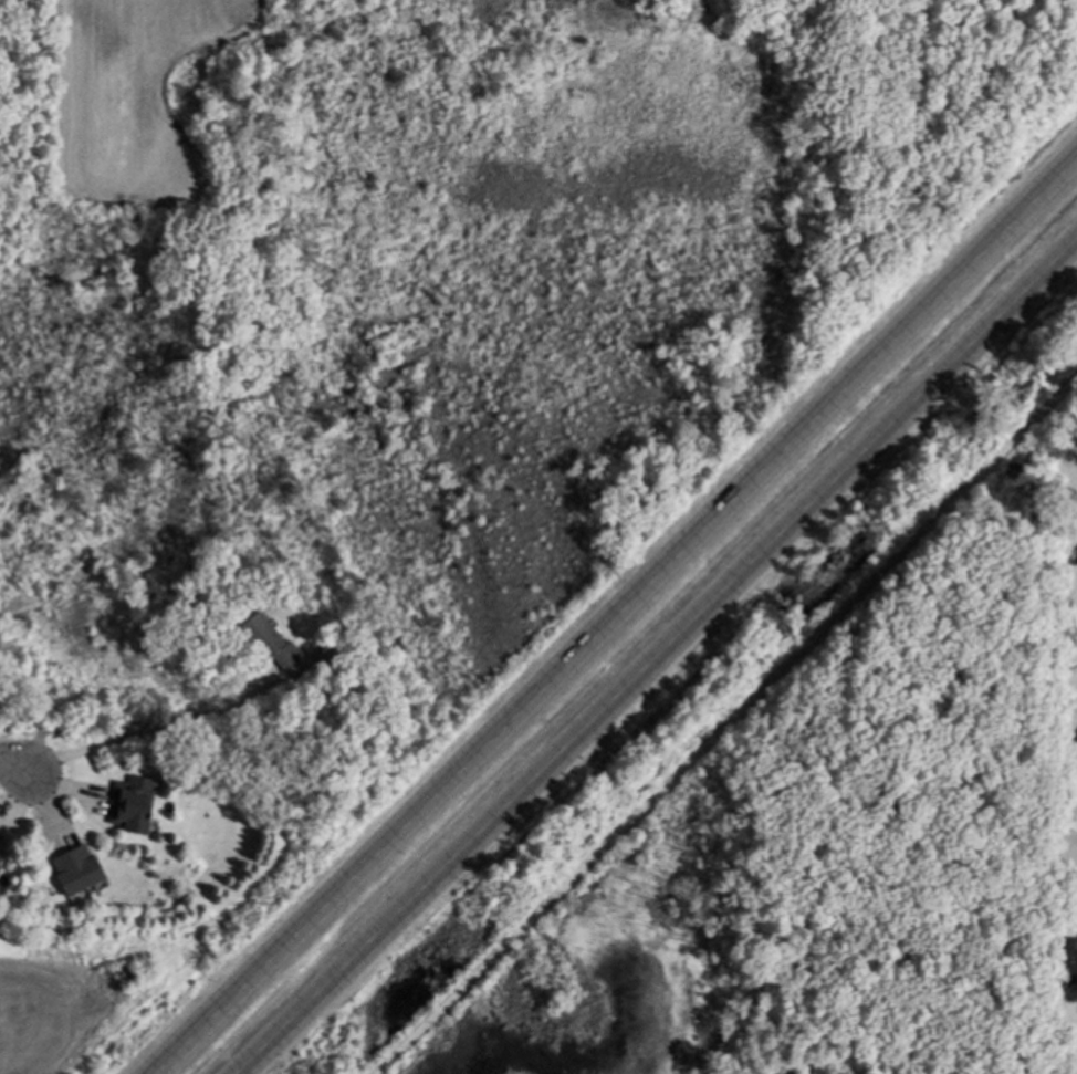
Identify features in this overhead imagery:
road: (624, 621)
building: (271, 645)
road: (666, 661)
road: (1059, 672)
road: (728, 727)
road: (159, 730)
road: (17, 768)
building: (132, 807)
building: (1, 861)
building: (77, 873)
building: (1070, 964)

